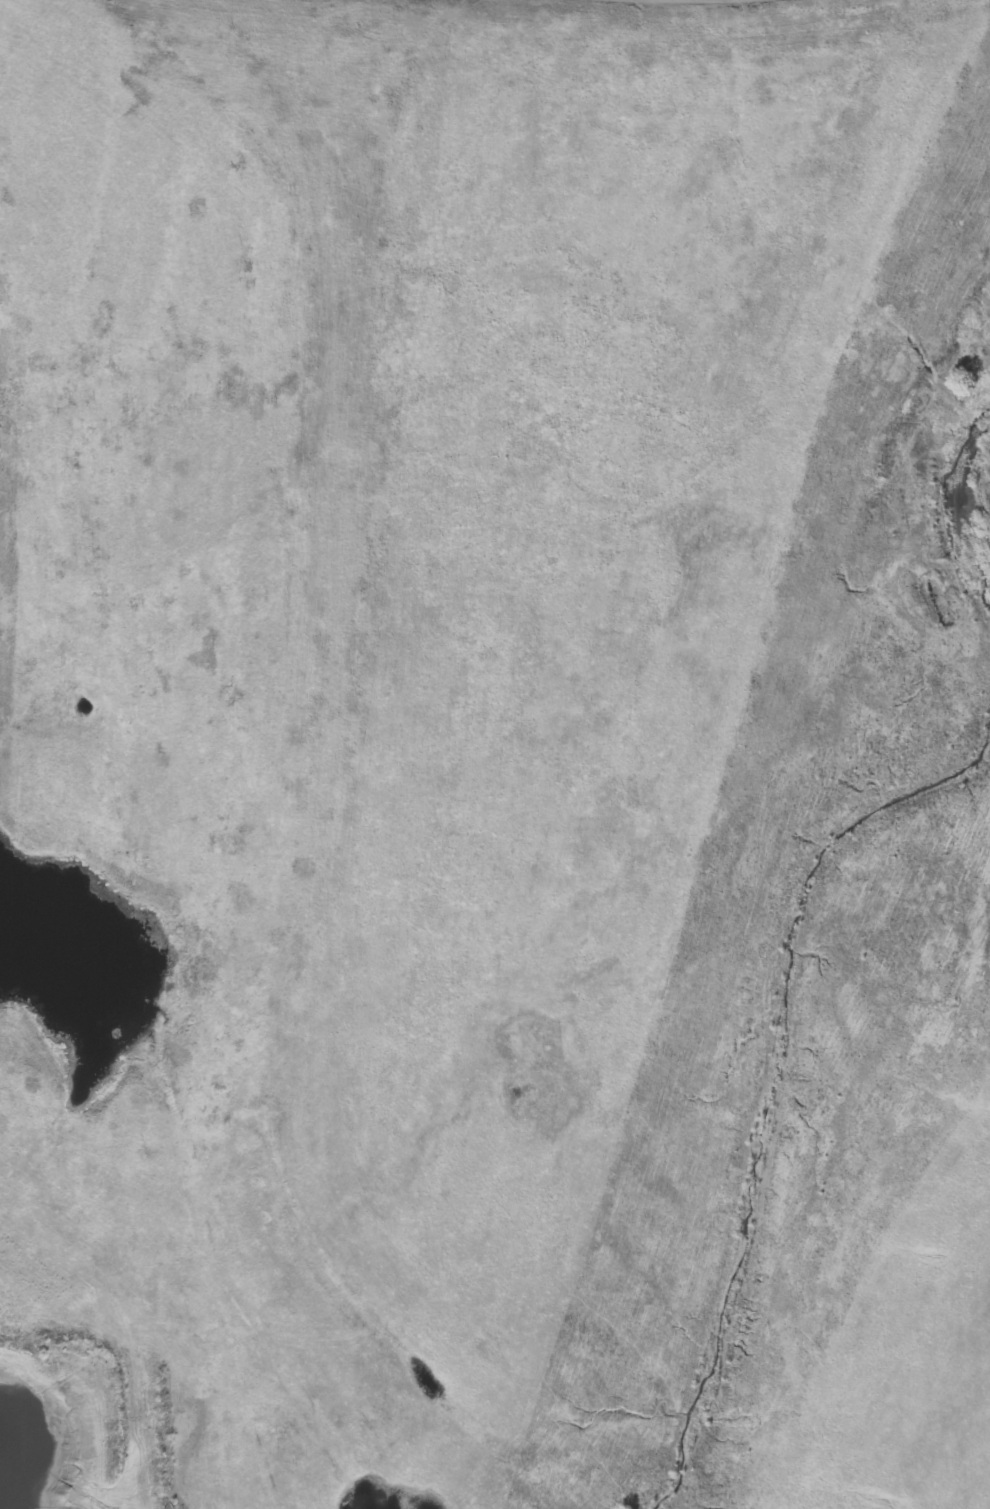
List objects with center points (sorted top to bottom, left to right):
quarry: (585, 781)

